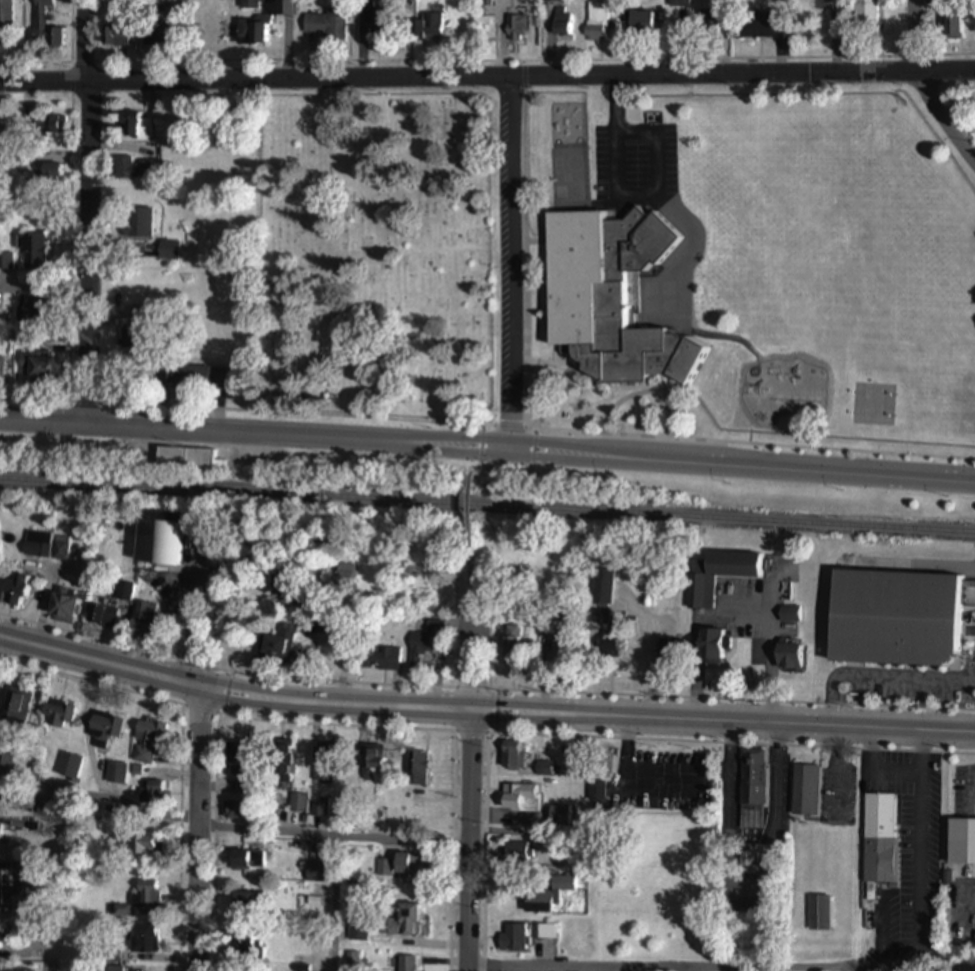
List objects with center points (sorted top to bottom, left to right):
building: (550, 0)
building: (249, 5)
building: (677, 5)
building: (865, 14)
building: (974, 19)
building: (560, 22)
building: (641, 22)
building: (596, 23)
building: (324, 24)
building: (708, 24)
building: (5, 25)
building: (45, 25)
building: (953, 26)
building: (760, 27)
building: (428, 28)
building: (249, 32)
road: (913, 34)
building: (157, 36)
building: (114, 38)
road: (287, 39)
road: (519, 58)
road: (61, 61)
road: (487, 77)
road: (47, 89)
road: (944, 114)
building: (48, 126)
building: (135, 127)
railway: (848, 158)
building: (132, 169)
building: (52, 177)
road: (87, 213)
building: (133, 222)
road: (64, 245)
building: (168, 251)
building: (32, 253)
park: (382, 257)
building: (5, 262)
road: (512, 263)
road: (43, 293)
building: (611, 298)
building: (129, 338)
building: (37, 367)
building: (1, 368)
building: (197, 378)
road: (487, 427)
road: (487, 448)
road: (469, 451)
building: (185, 458)
road: (468, 506)
railway: (487, 506)
building: (158, 538)
building: (37, 545)
building: (65, 548)
building: (512, 551)
road: (470, 553)
building: (718, 576)
building: (601, 590)
building: (14, 592)
building: (65, 607)
building: (101, 617)
road: (730, 618)
building: (145, 619)
building: (893, 620)
road: (186, 628)
road: (213, 628)
building: (317, 630)
road: (476, 640)
building: (278, 643)
building: (426, 643)
building: (511, 645)
building: (710, 648)
road: (646, 656)
building: (388, 657)
building: (787, 658)
road: (879, 677)
road: (92, 681)
road: (483, 689)
building: (19, 706)
road: (484, 710)
building: (60, 715)
building: (105, 731)
building: (148, 744)
building: (510, 755)
building: (237, 762)
building: (282, 762)
building: (370, 763)
building: (322, 766)
building: (68, 767)
building: (417, 770)
road: (896, 770)
building: (116, 774)
road: (629, 784)
building: (752, 790)
building: (805, 791)
building: (520, 798)
building: (0, 802)
building: (297, 804)
building: (319, 808)
building: (236, 812)
building: (879, 818)
road: (232, 825)
road: (211, 826)
road: (197, 830)
building: (0, 835)
road: (754, 836)
road: (183, 838)
road: (470, 840)
building: (961, 843)
building: (141, 847)
road: (918, 849)
building: (245, 861)
building: (747, 861)
building: (878, 861)
building: (400, 869)
building: (0, 889)
building: (147, 896)
building: (548, 896)
building: (243, 902)
road: (335, 905)
building: (820, 914)
building: (401, 923)
building: (357, 930)
building: (546, 932)
building: (511, 938)
building: (144, 939)
building: (243, 946)
building: (353, 962)
building: (408, 964)
building: (301, 969)
road: (721, 970)

